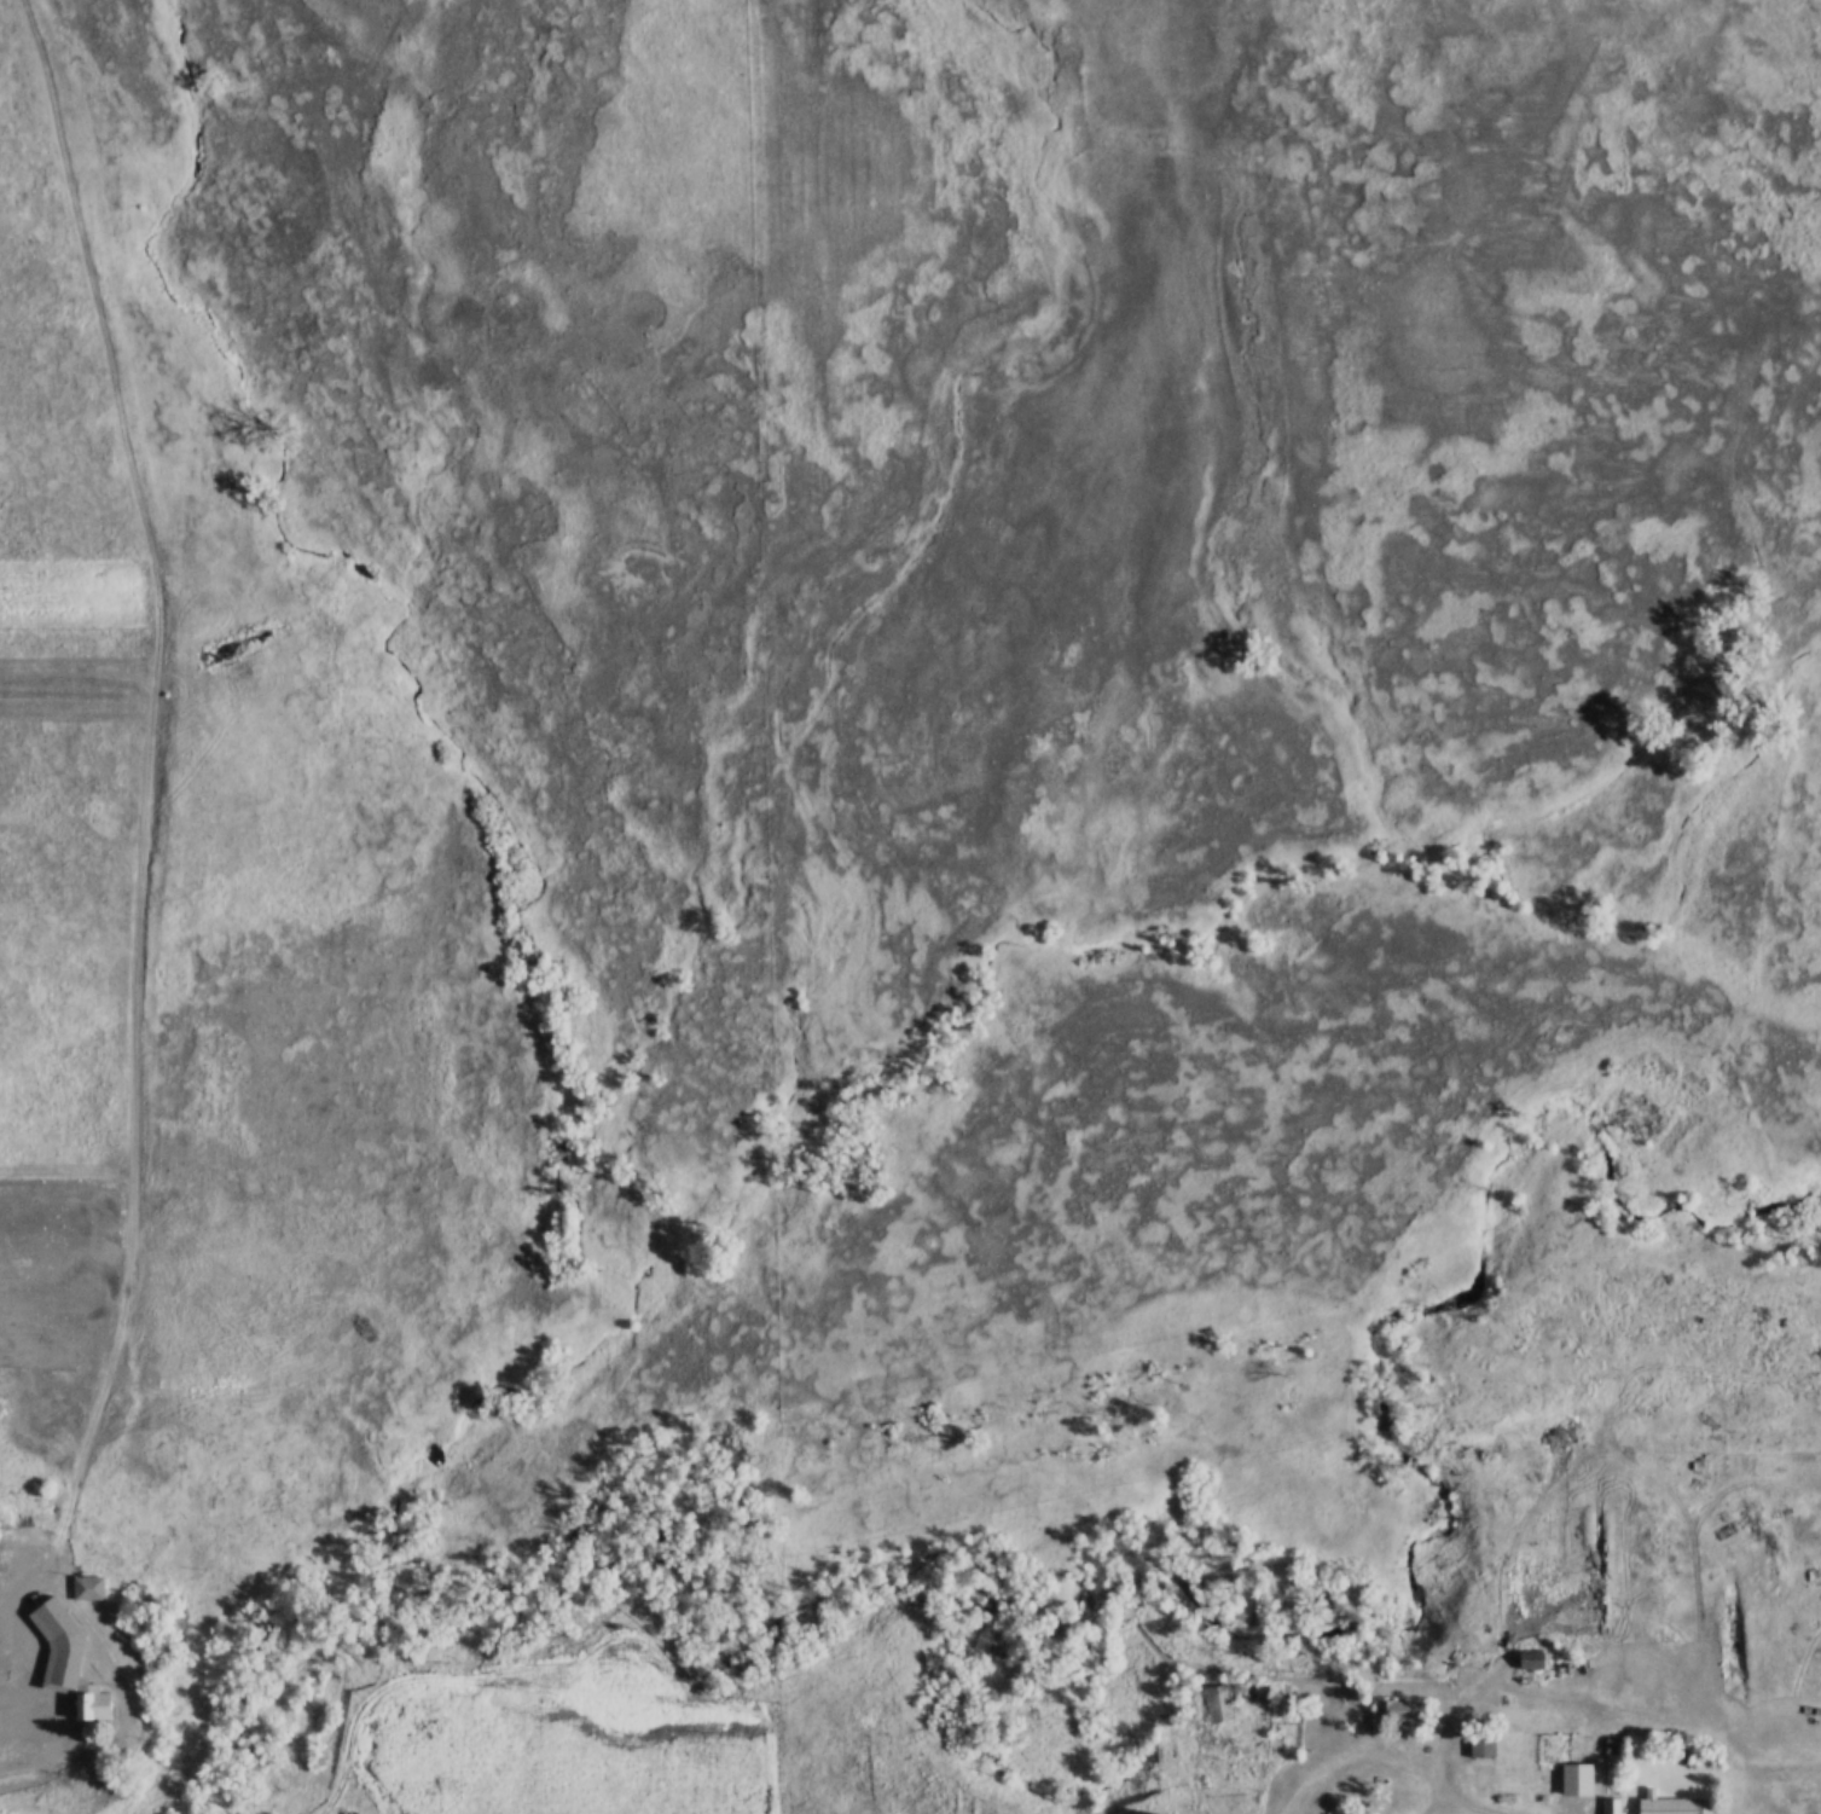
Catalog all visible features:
building: (87, 1588)
building: (1532, 1662)
building: (66, 1663)
building: (523, 1696)
building: (1206, 1703)
building: (1398, 1714)
building: (1480, 1745)
building: (1617, 1806)
building: (1672, 1807)

